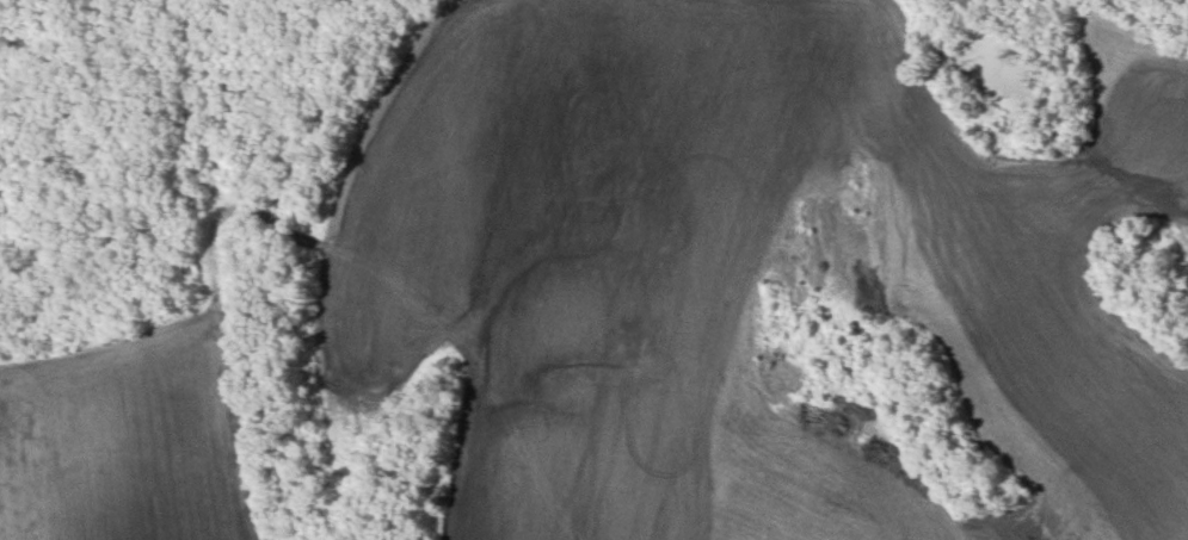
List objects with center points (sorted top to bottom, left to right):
crop: (737, 268)
crop: (137, 423)

